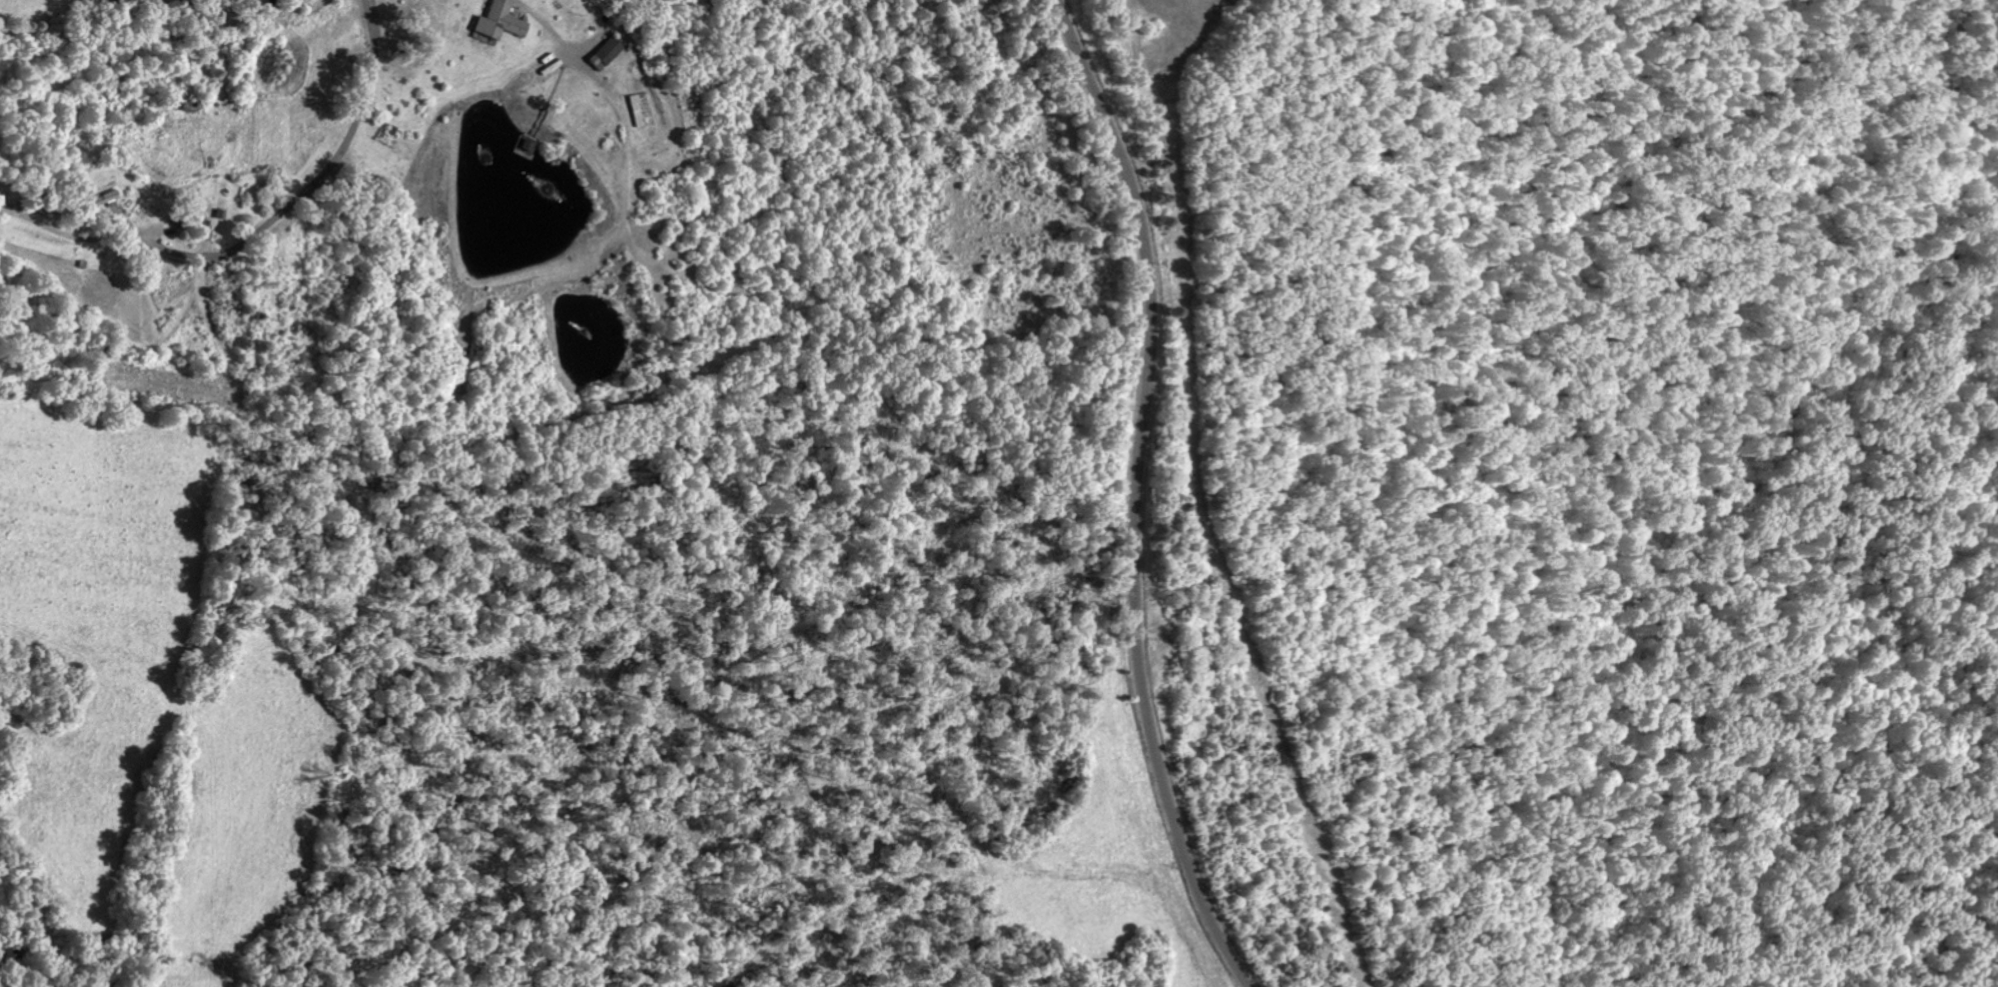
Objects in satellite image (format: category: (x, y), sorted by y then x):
building: (502, 20)
building: (610, 52)
road: (326, 176)
road: (1135, 496)

